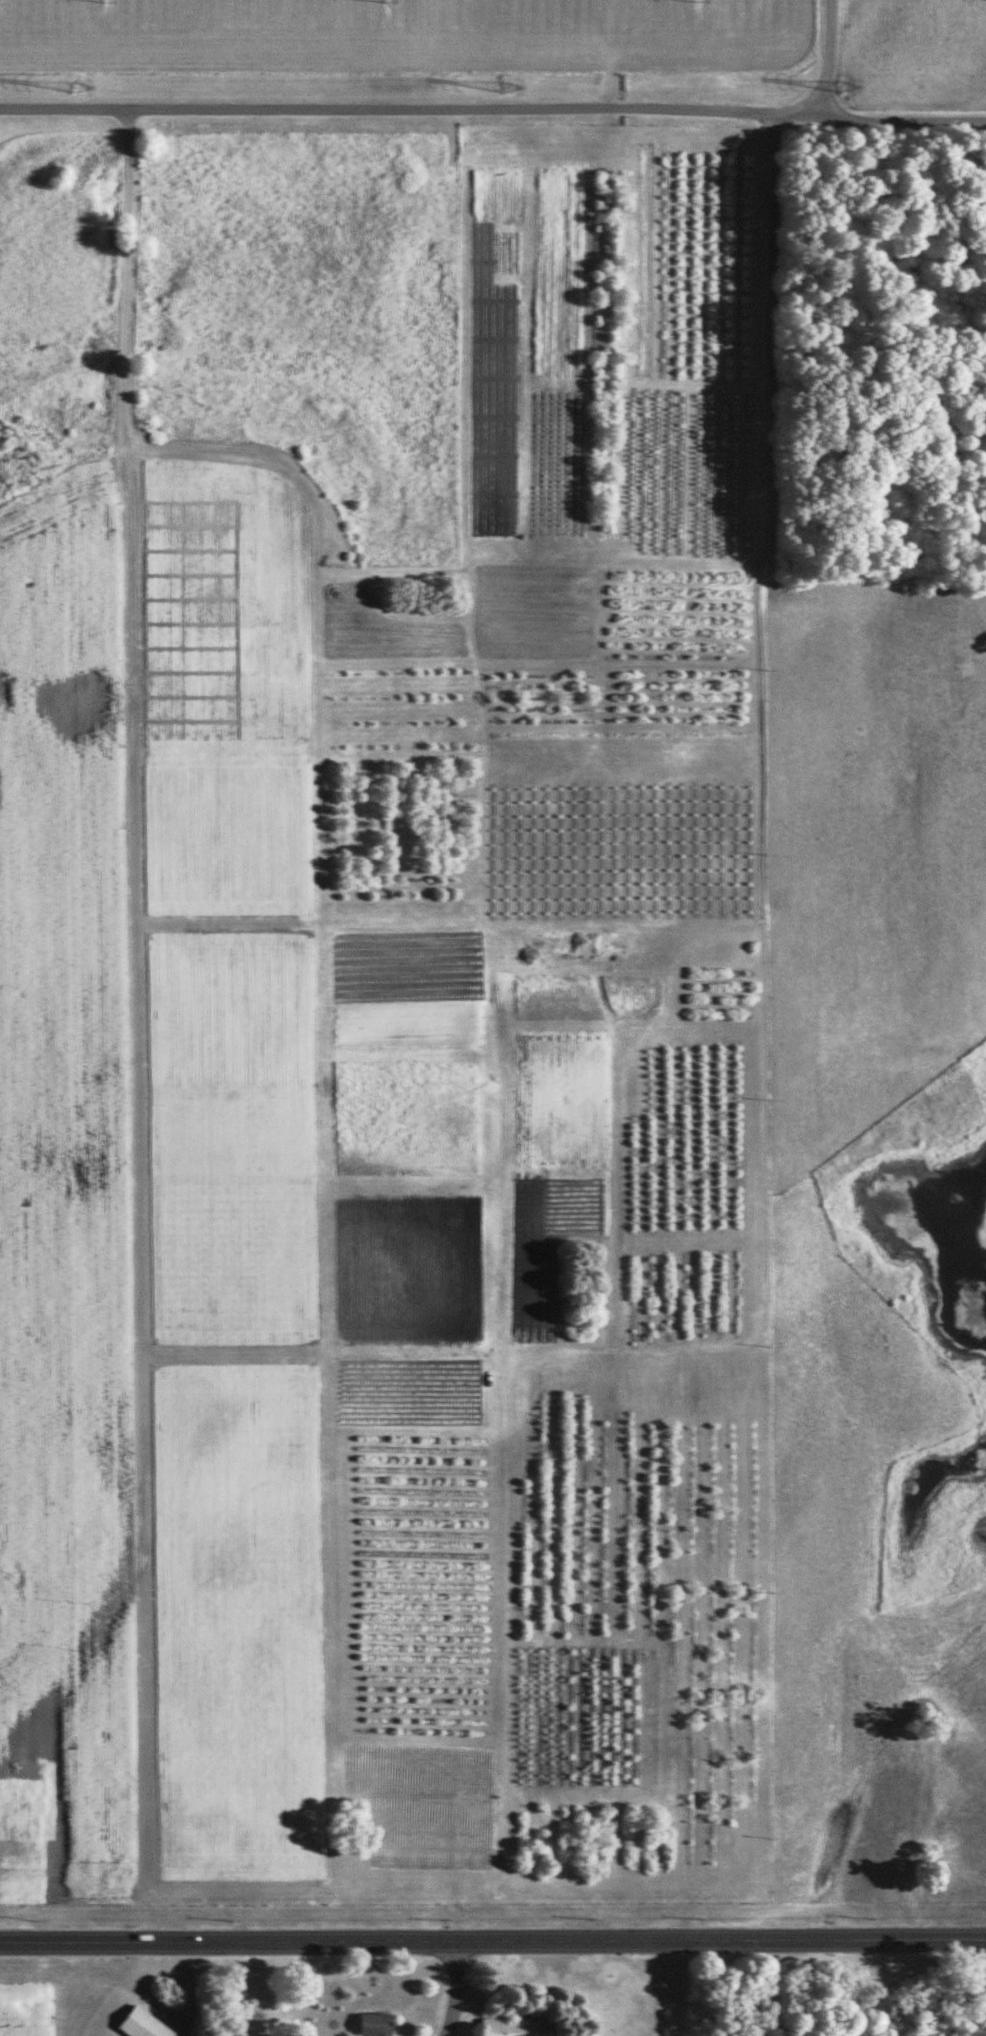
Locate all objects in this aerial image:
road: (829, 54)
power tower: (851, 87)
power tower: (76, 88)
power tower: (505, 88)
road: (414, 109)
road: (906, 119)
crop: (221, 602)
crop: (226, 826)
crop: (407, 987)
crop: (560, 1102)
crop: (230, 1135)
crop: (64, 1205)
crop: (407, 1269)
road: (450, 1355)
crop: (235, 1621)
crop: (425, 1800)
road: (721, 1940)
road: (228, 1941)
road: (453, 1989)
crop: (29, 2010)
building: (141, 2024)
building: (373, 2024)
building: (515, 2026)

